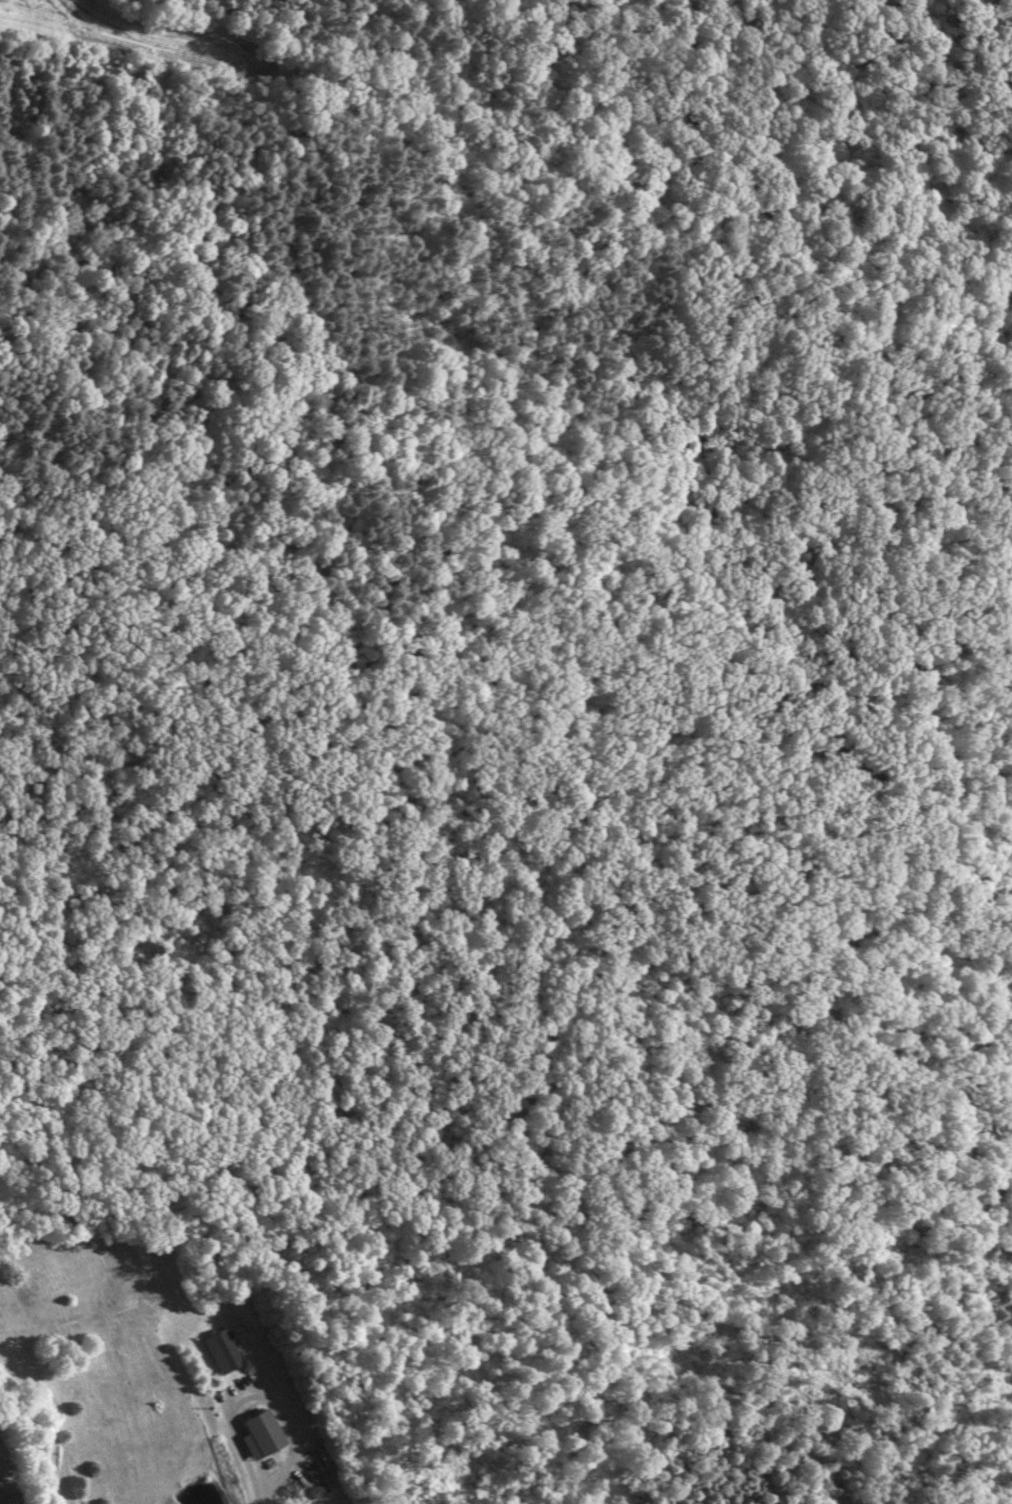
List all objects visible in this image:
building: (216, 1350)
building: (256, 1431)
building: (314, 1489)

